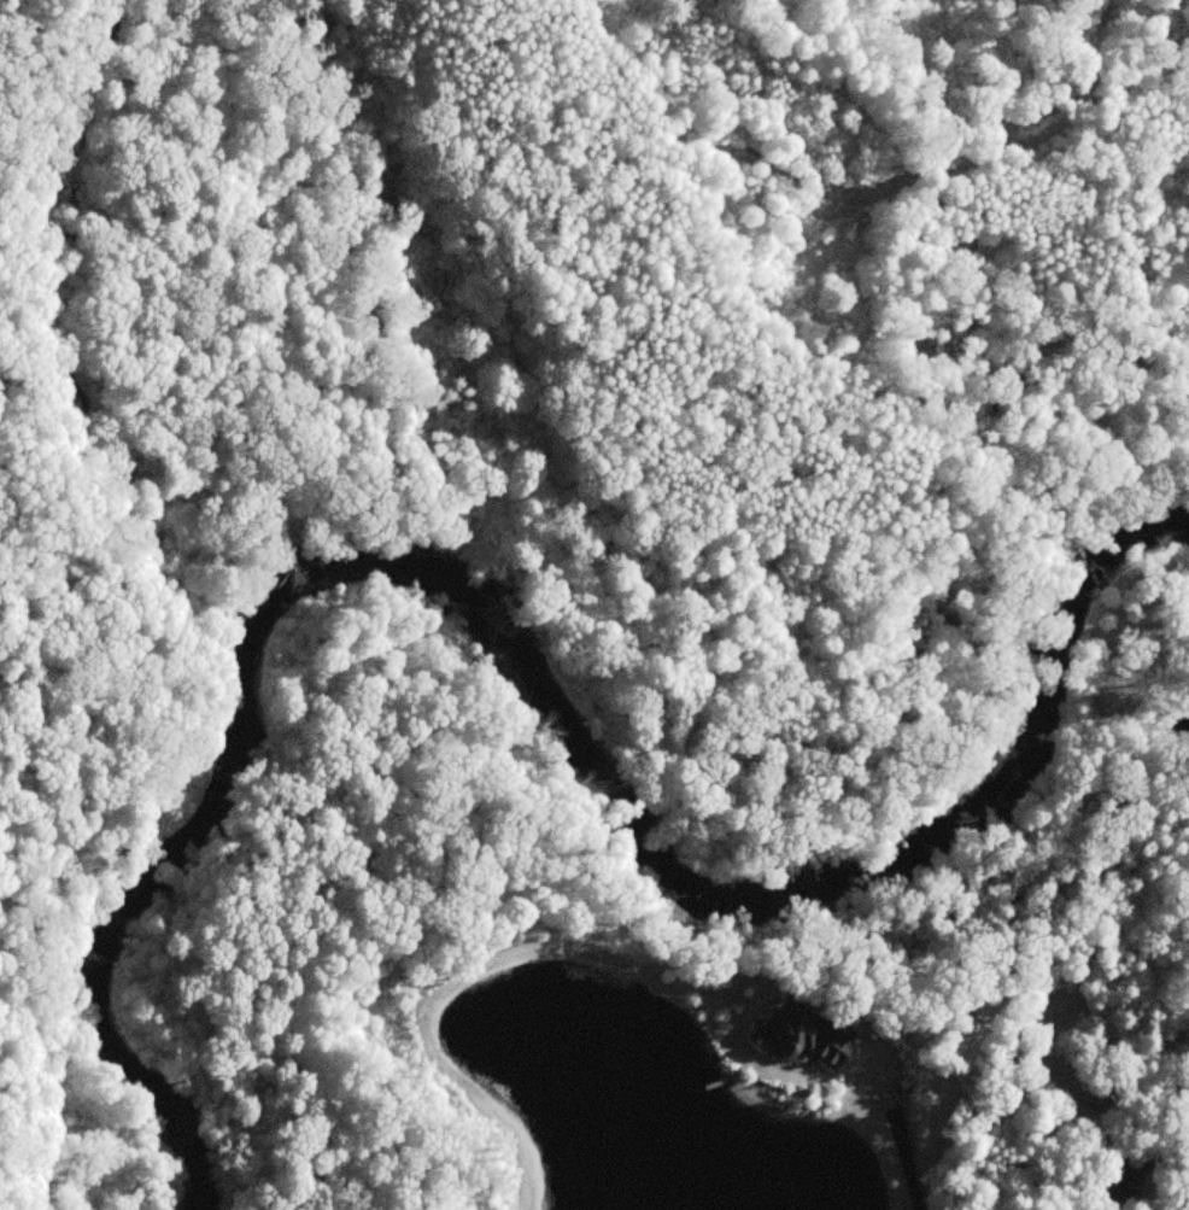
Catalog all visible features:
river: (511, 662)
building: (799, 1034)
road: (901, 1151)
building: (1117, 1180)

